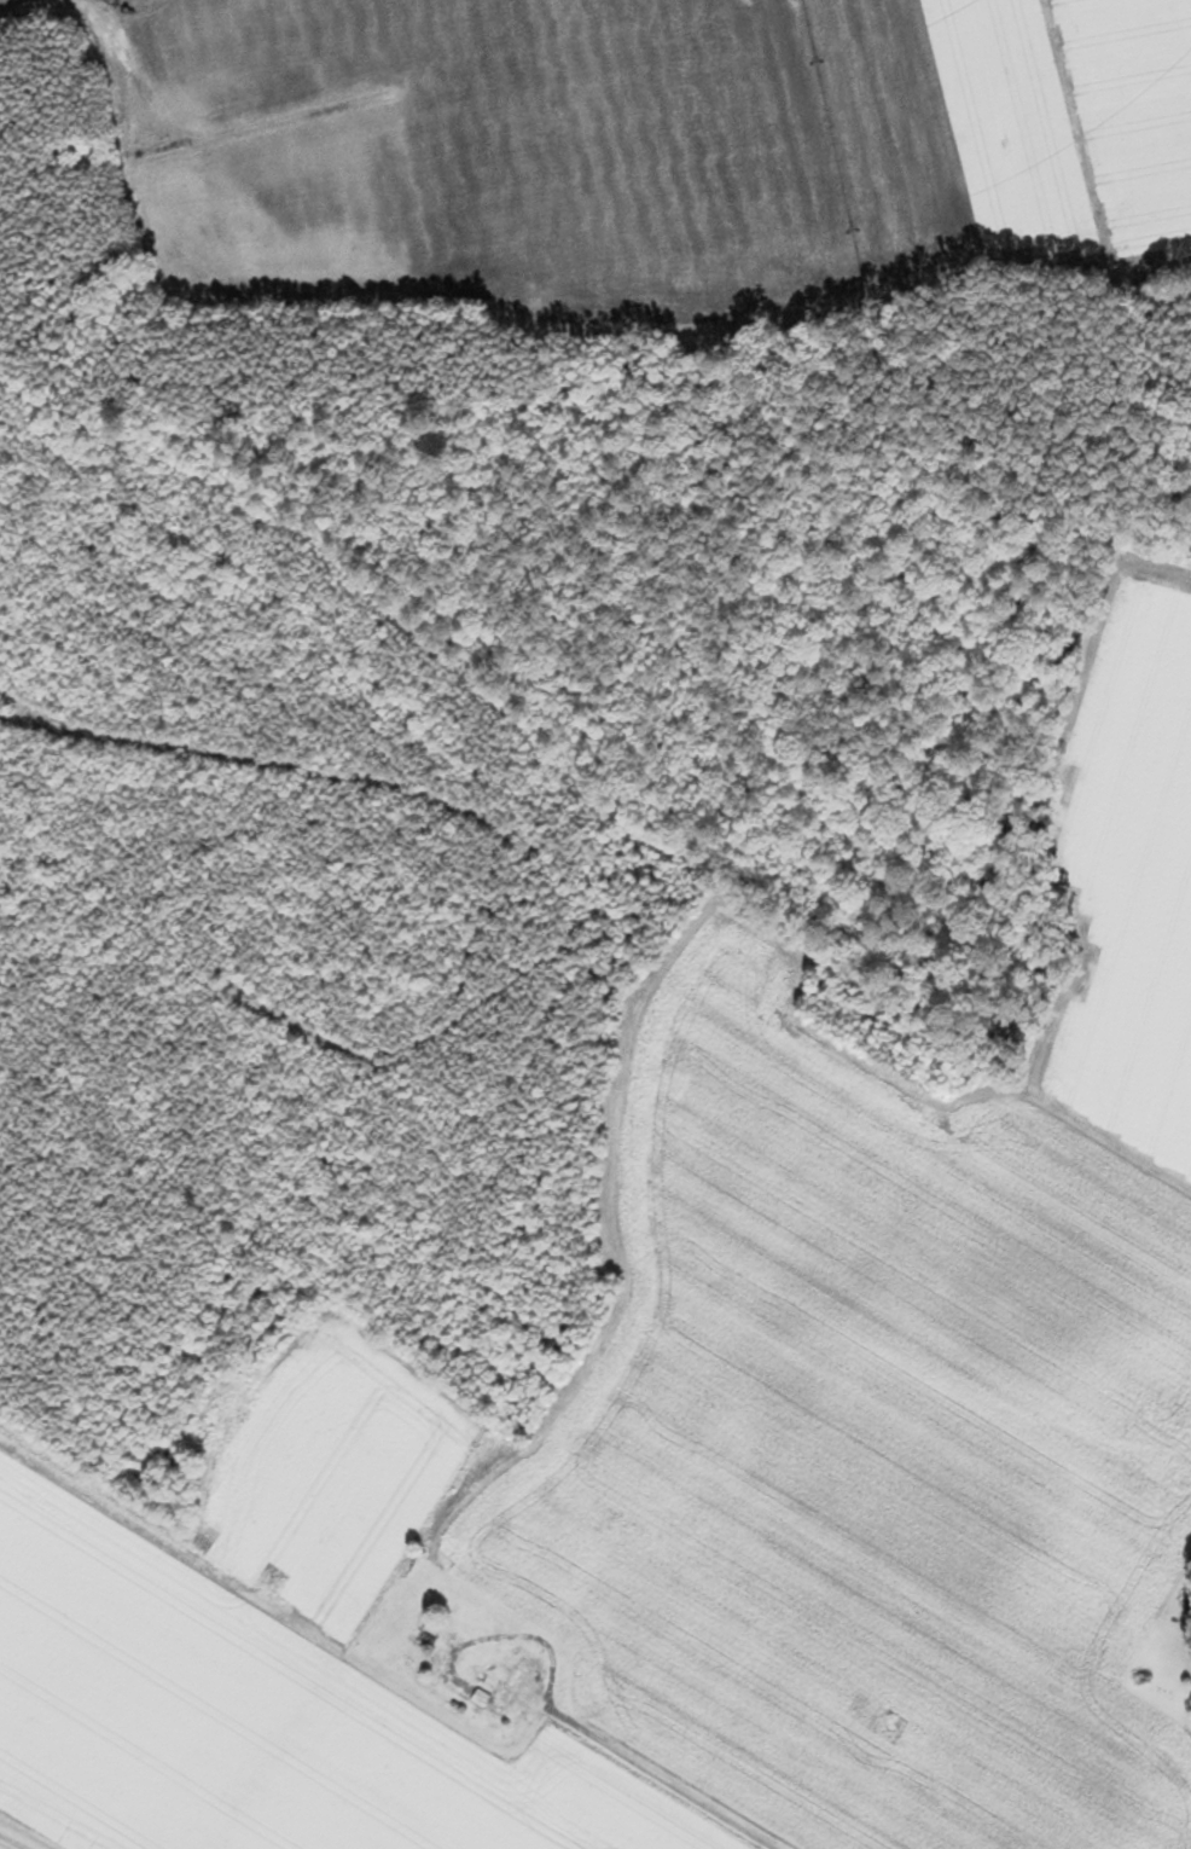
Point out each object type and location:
building: (278, 1339)
building: (509, 1686)
road: (666, 1785)

